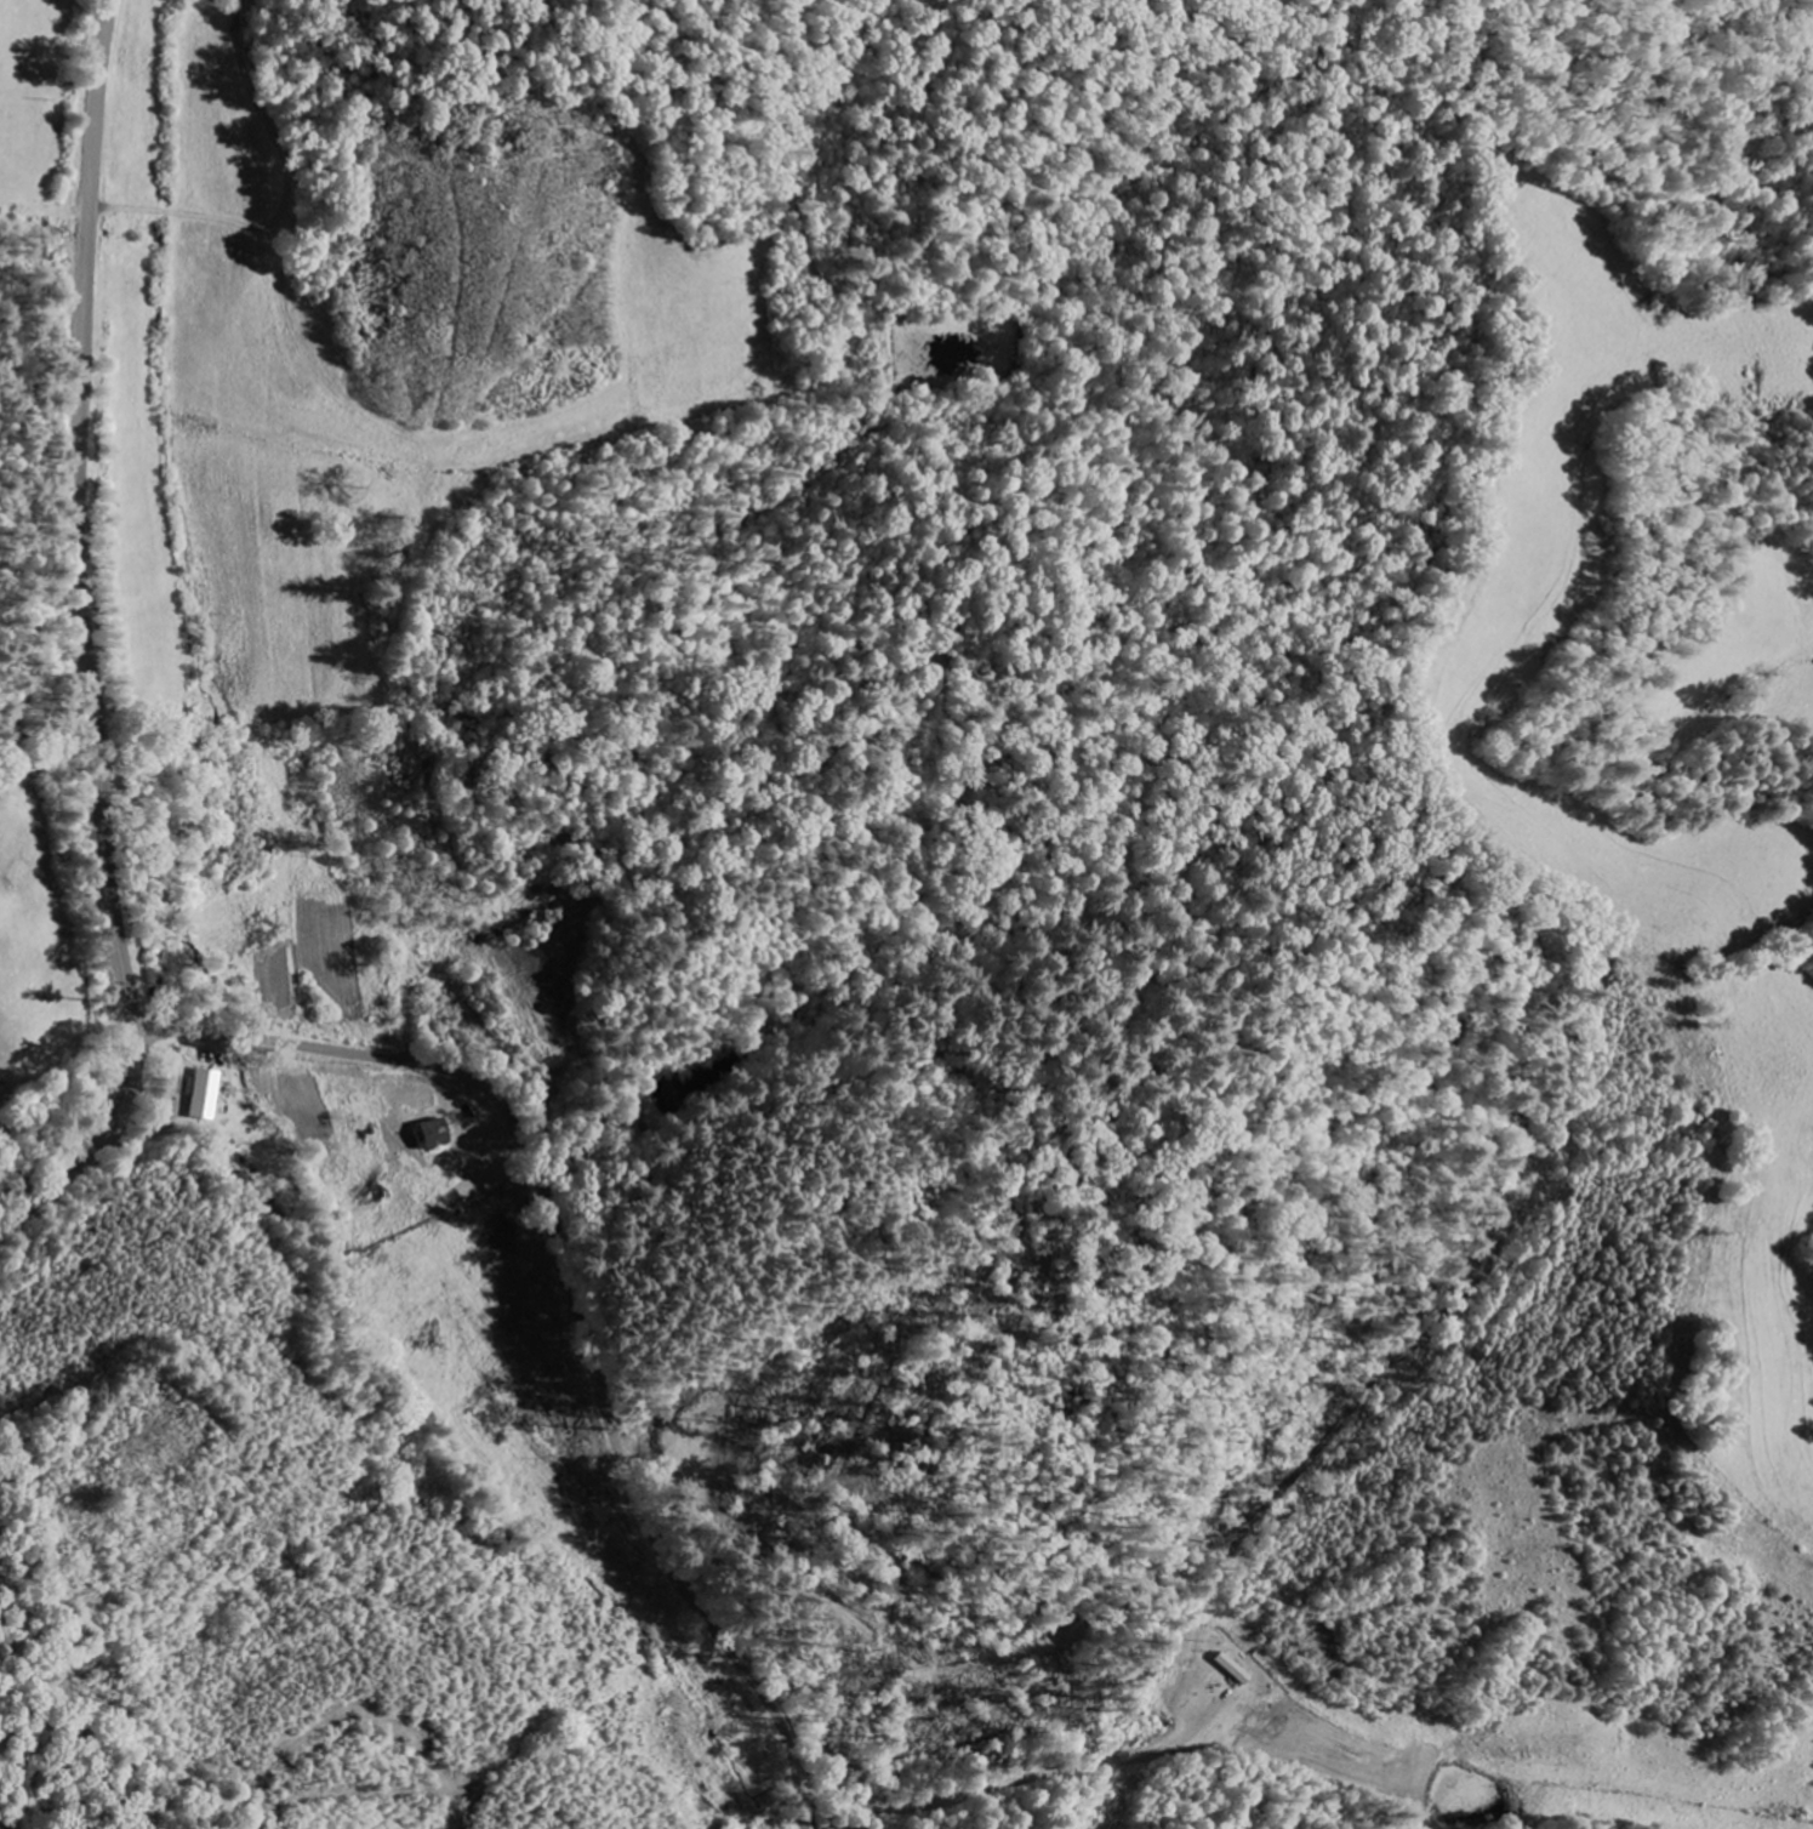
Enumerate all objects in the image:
road: (85, 642)
building: (205, 1095)
building: (429, 1139)
road: (571, 1298)
building: (1228, 1670)

